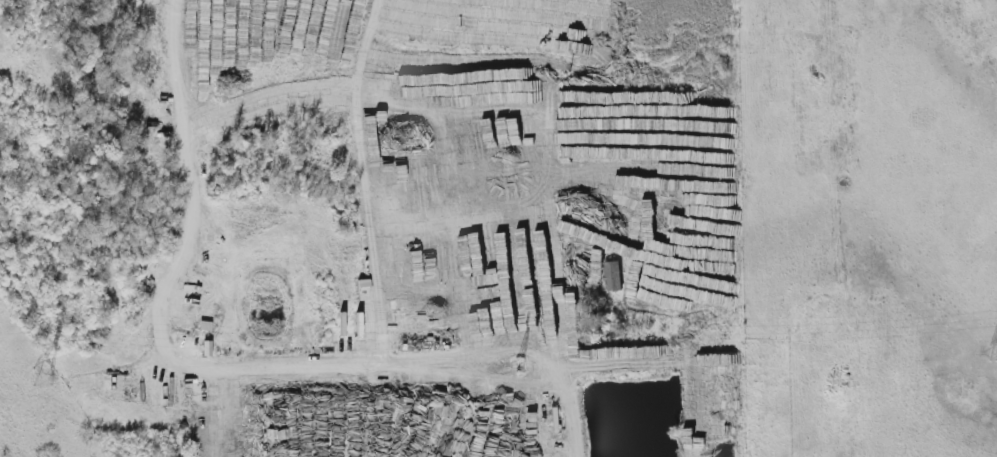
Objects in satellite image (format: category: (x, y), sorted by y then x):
road: (369, 42)
building: (515, 80)
road: (493, 85)
building: (569, 94)
building: (432, 100)
building: (411, 177)
road: (195, 240)
building: (417, 254)
building: (611, 277)
building: (340, 324)
building: (355, 324)
building: (203, 326)
building: (204, 349)
building: (679, 352)
road: (376, 353)
power tower: (988, 356)
power tower: (517, 366)
power tower: (39, 377)
building: (299, 409)
building: (469, 423)
building: (316, 432)
building: (333, 432)
building: (211, 440)

